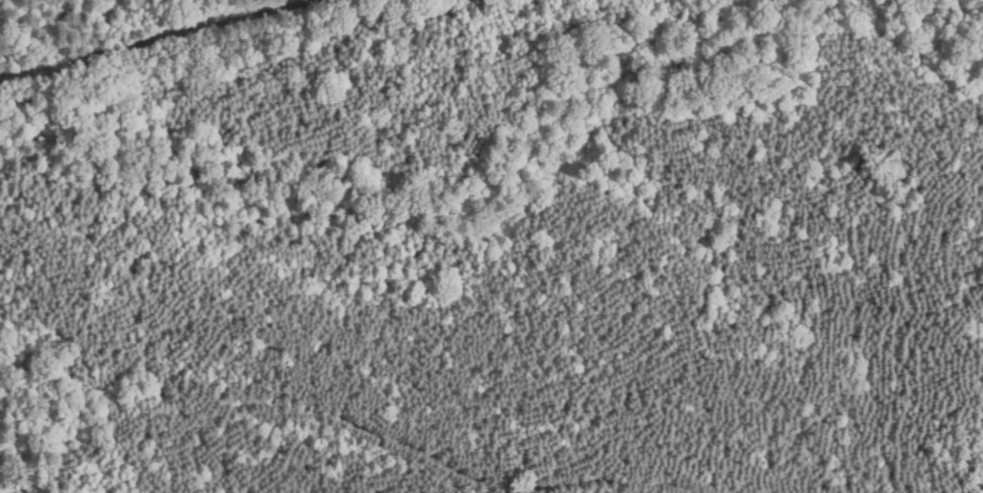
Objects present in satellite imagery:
road: (157, 39)

